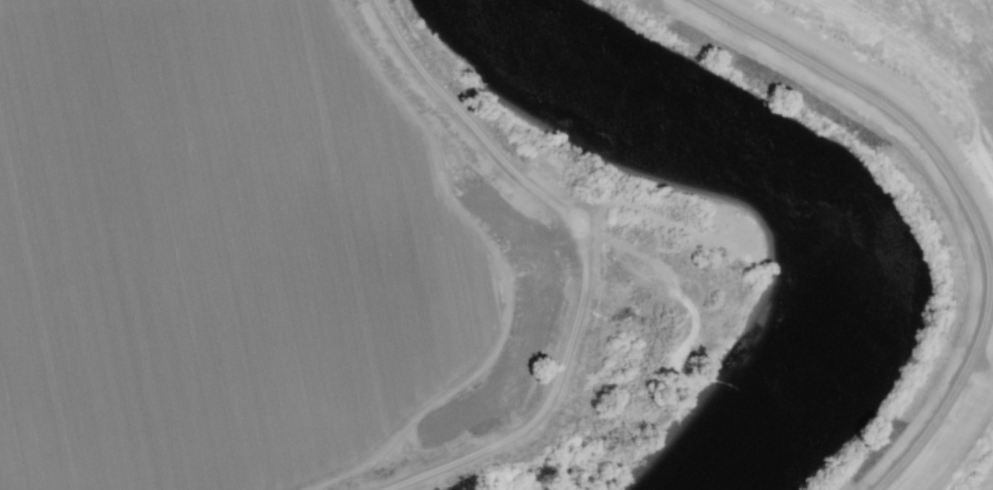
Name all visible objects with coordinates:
crop: (893, 172)
river: (799, 182)
road: (489, 248)
road: (957, 412)

